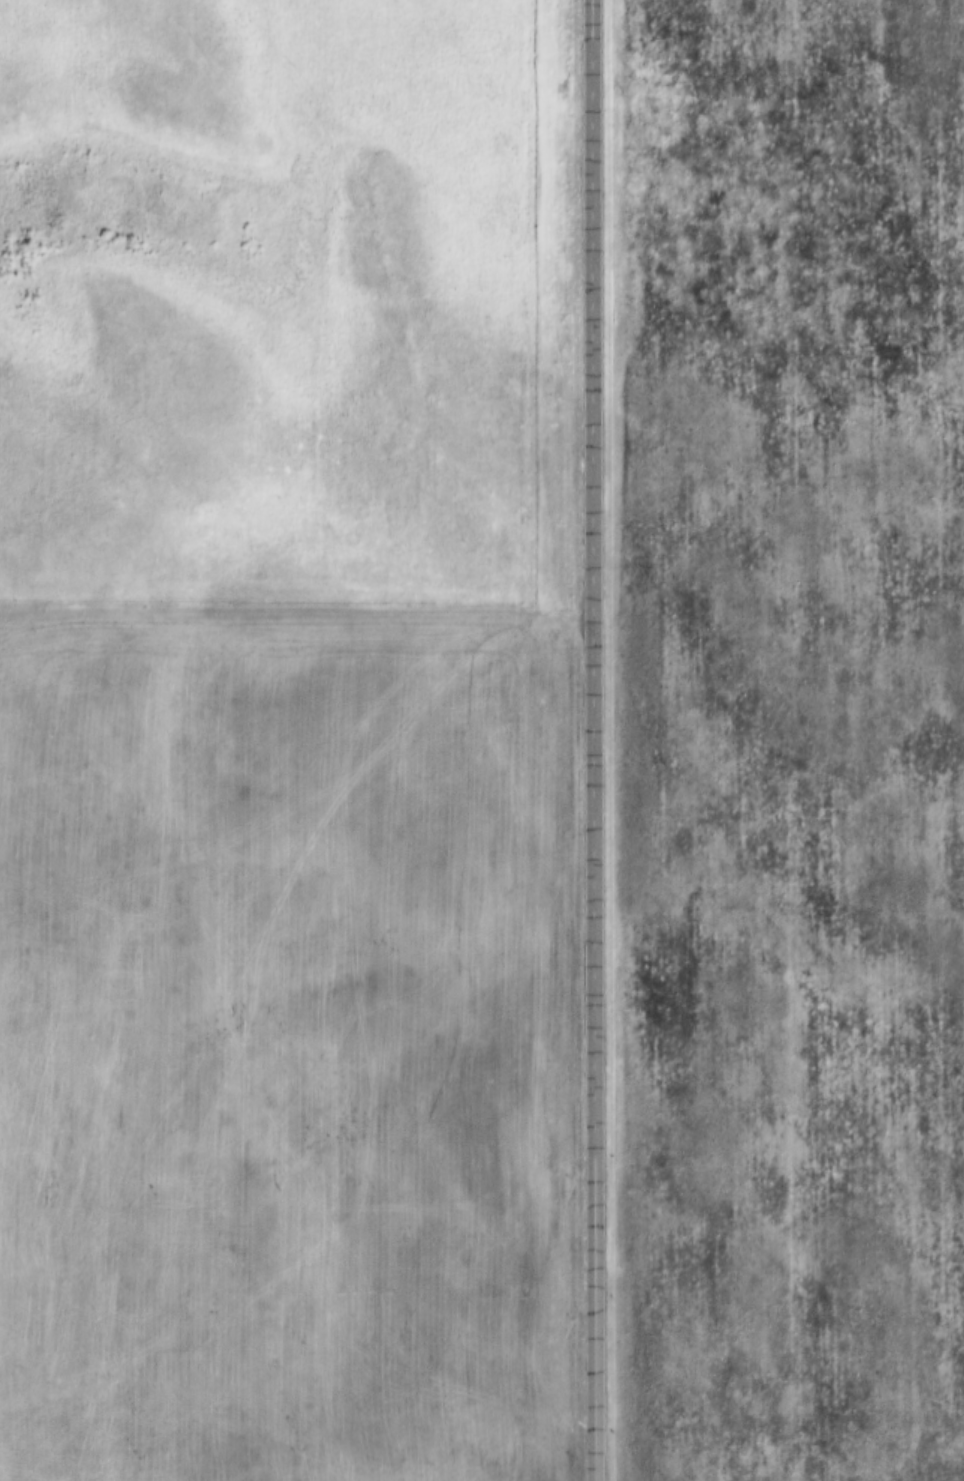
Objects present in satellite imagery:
road: (594, 740)

